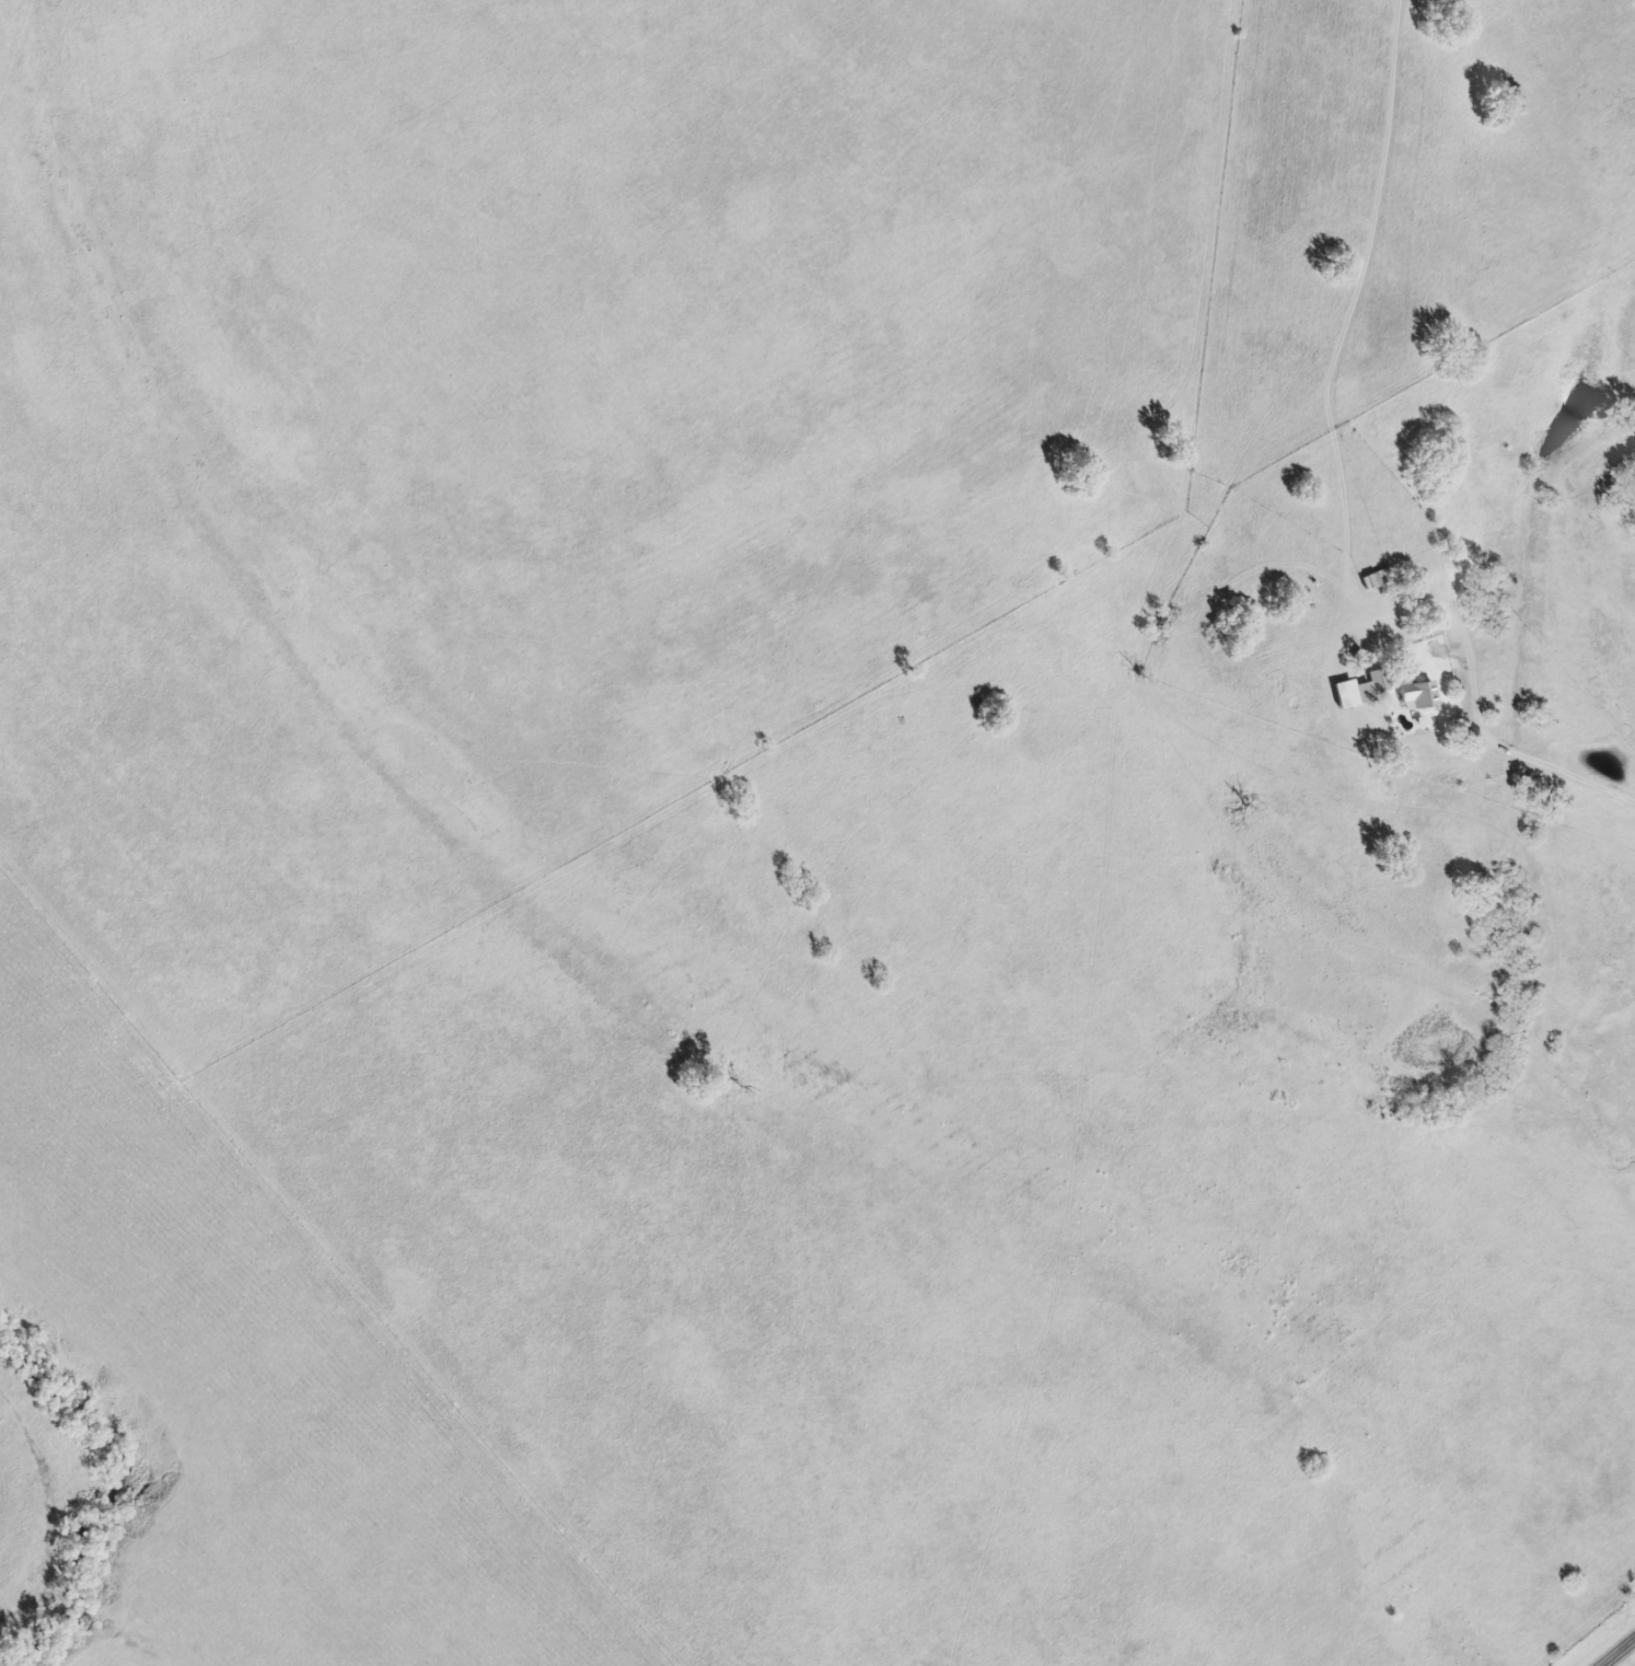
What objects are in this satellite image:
building: (1371, 687)
building: (1417, 696)
road: (1491, 741)
river: (124, 1499)
road: (1619, 1653)

